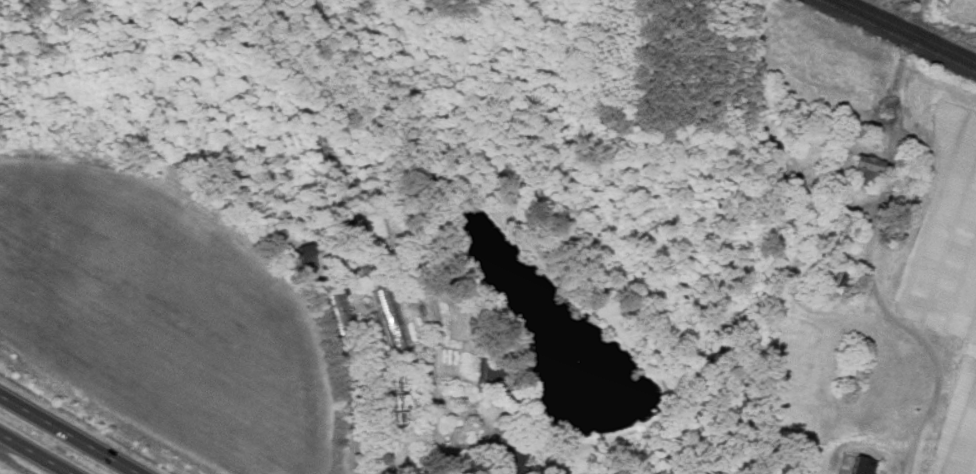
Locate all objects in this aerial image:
railway: (907, 31)
railway: (894, 37)
building: (862, 170)
road: (802, 305)
road: (929, 351)
building: (491, 375)
road: (76, 430)
road: (350, 450)
road: (36, 453)
building: (513, 459)
building: (864, 466)

